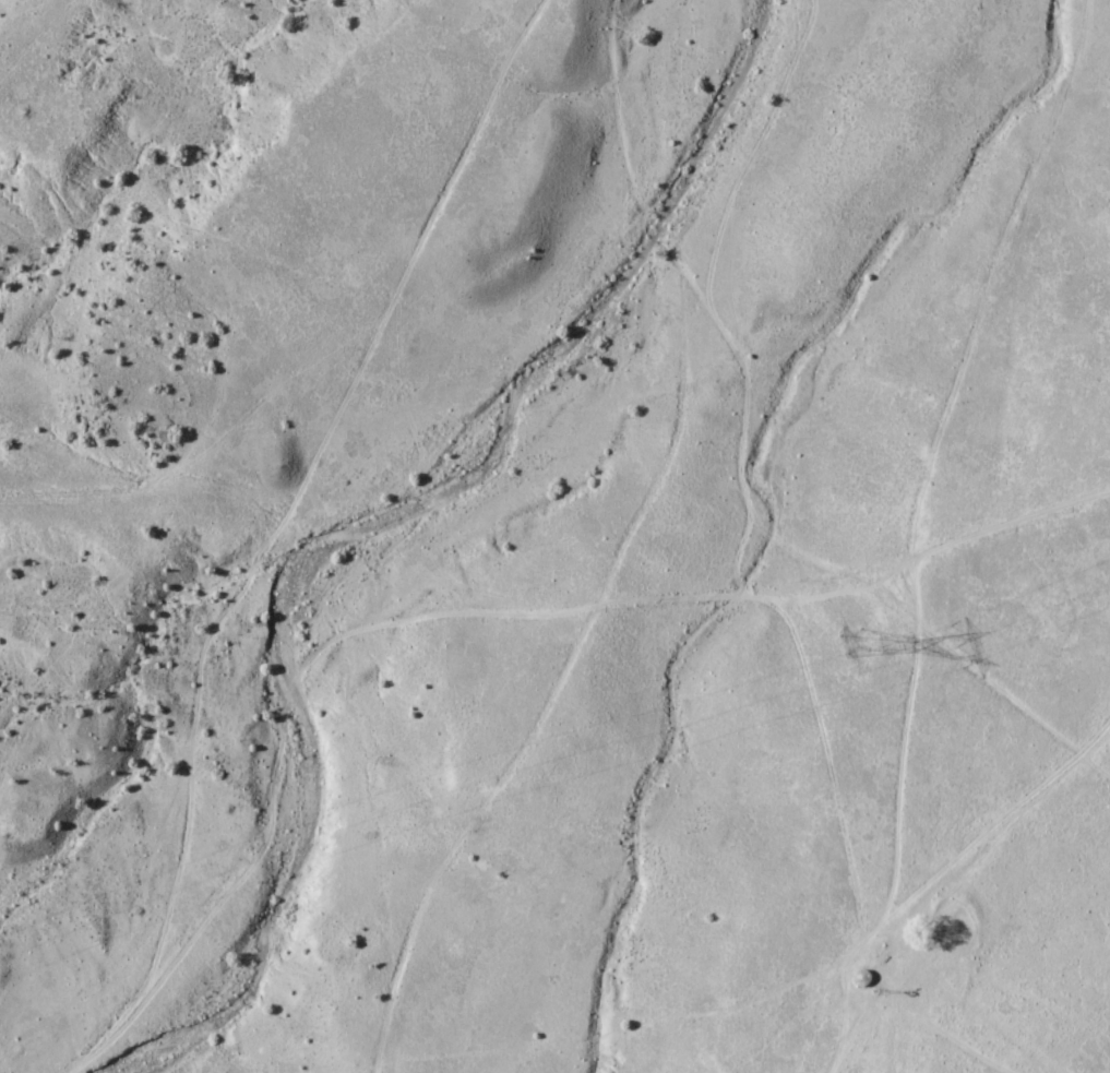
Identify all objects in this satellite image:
road: (651, 306)
road: (944, 421)
road: (1005, 508)
road: (872, 511)
river: (394, 518)
road: (255, 524)
power tower: (873, 635)
road: (283, 711)
road: (457, 836)
road: (844, 966)
road: (969, 1050)

